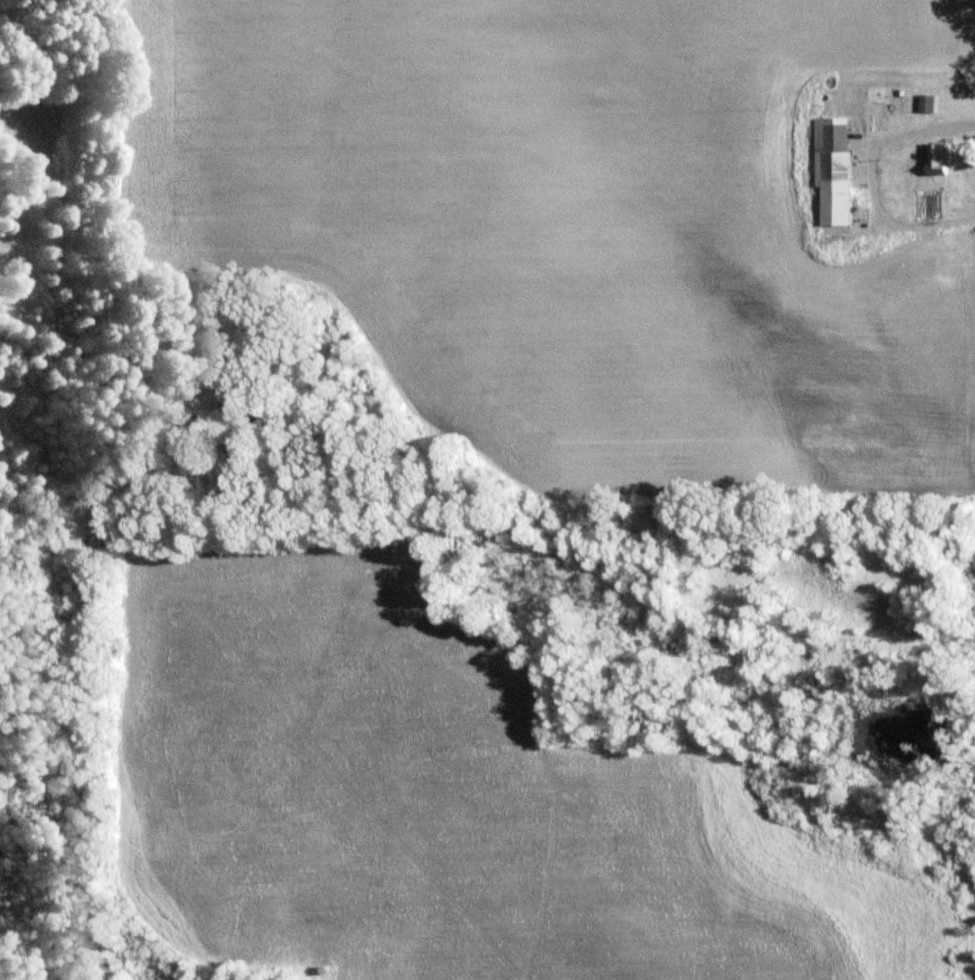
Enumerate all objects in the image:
building: (929, 103)
building: (892, 105)
building: (937, 158)
building: (836, 172)
road: (871, 177)

